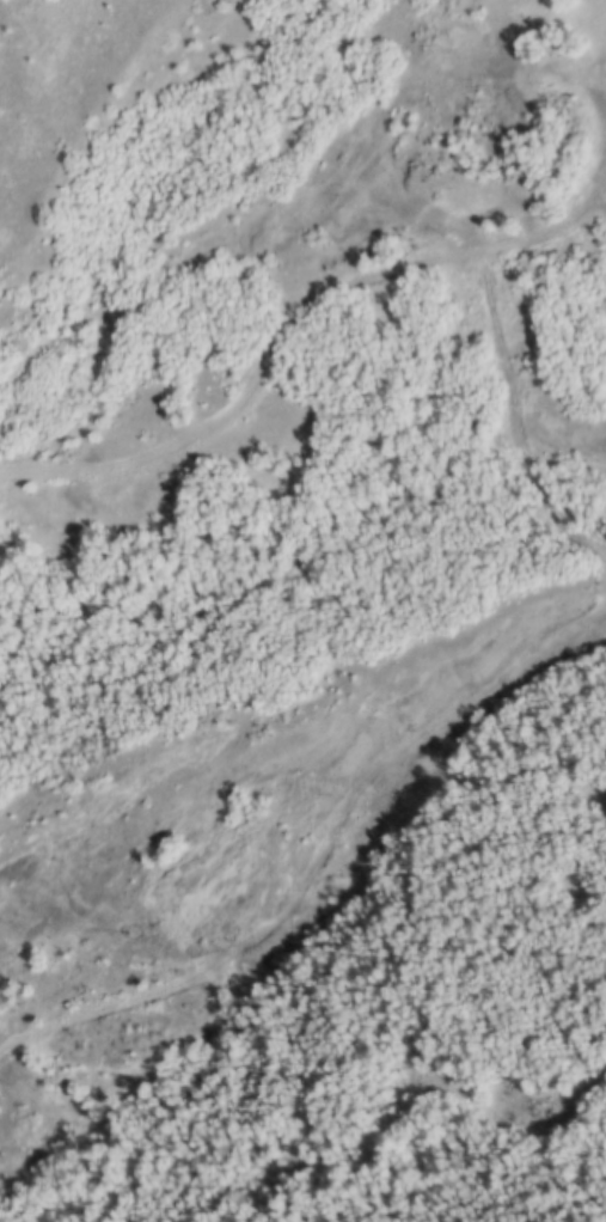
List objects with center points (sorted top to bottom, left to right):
road: (293, 337)

